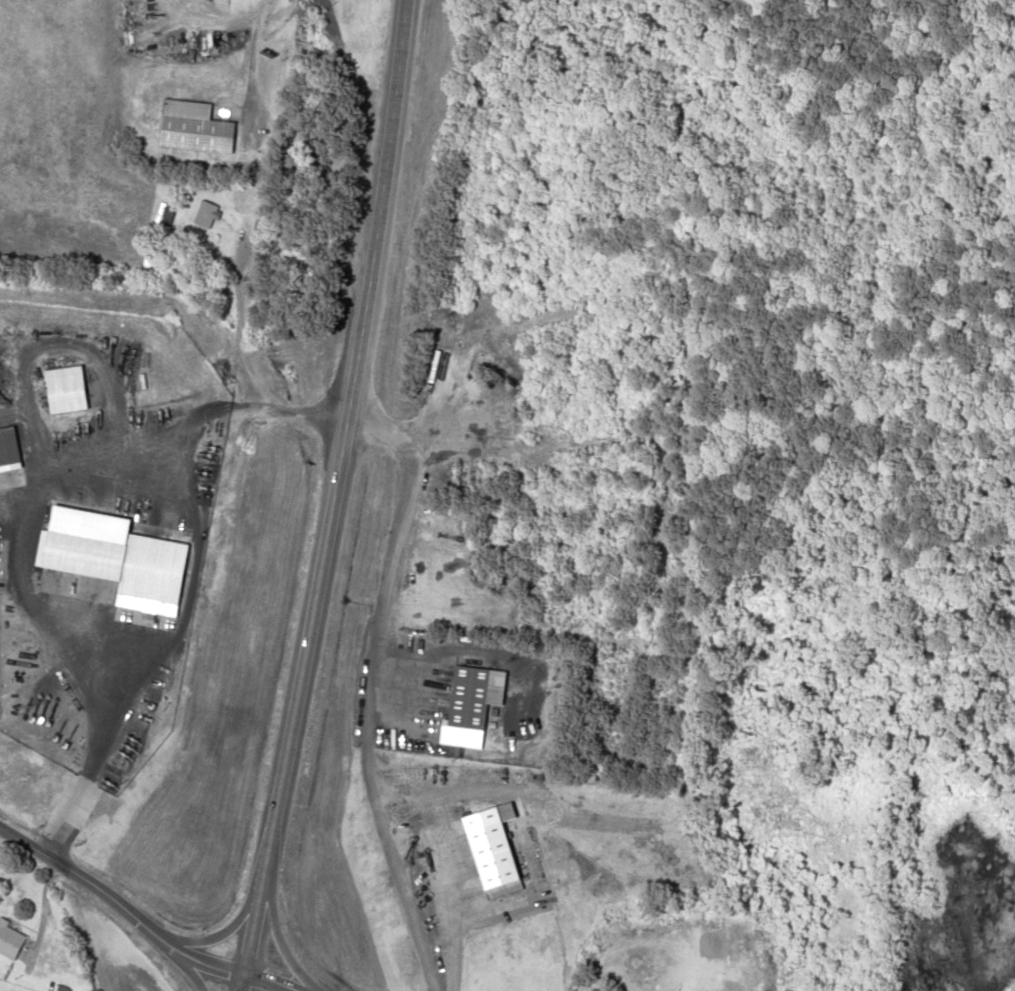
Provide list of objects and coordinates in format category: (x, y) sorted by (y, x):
building: (194, 128)
building: (207, 215)
building: (166, 216)
road: (236, 243)
building: (68, 391)
building: (9, 448)
road: (330, 496)
building: (468, 529)
building: (125, 564)
building: (551, 584)
building: (476, 696)
road: (101, 746)
building: (496, 849)
road: (120, 905)
road: (230, 925)
road: (277, 933)
building: (11, 940)
road: (185, 965)
building: (730, 977)
road: (271, 981)

